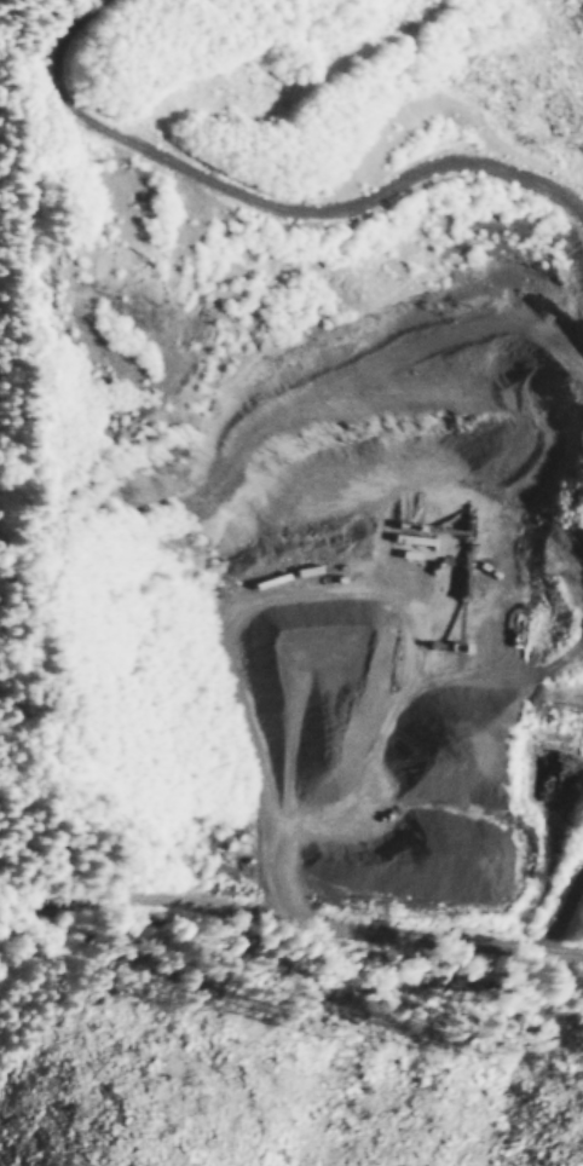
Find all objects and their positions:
road: (266, 197)
quarry: (304, 474)
road: (35, 897)
road: (565, 906)
road: (310, 911)
road: (35, 945)
road: (565, 945)

